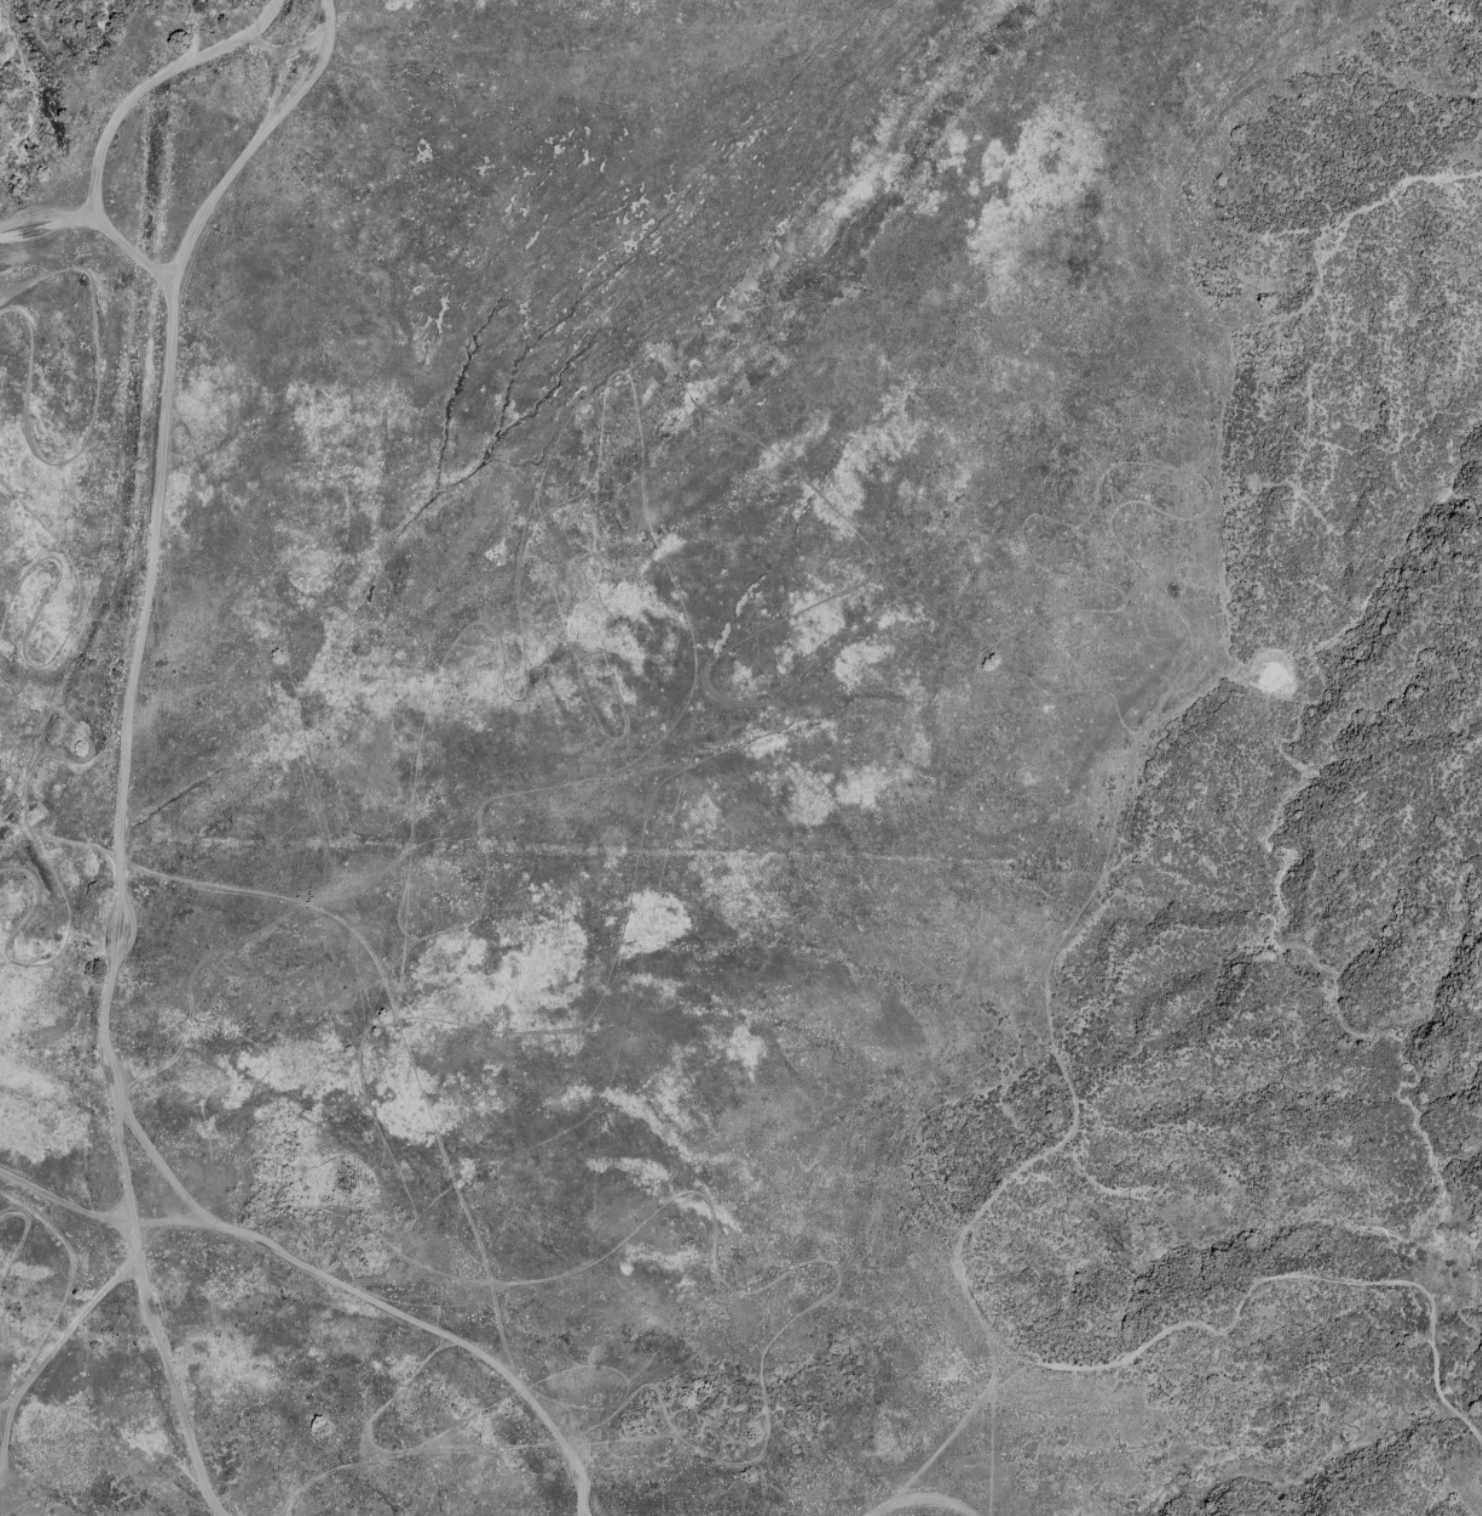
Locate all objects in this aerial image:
road: (153, 261)
road: (117, 1081)
road: (333, 1310)
road: (63, 1327)
road: (879, 1506)

